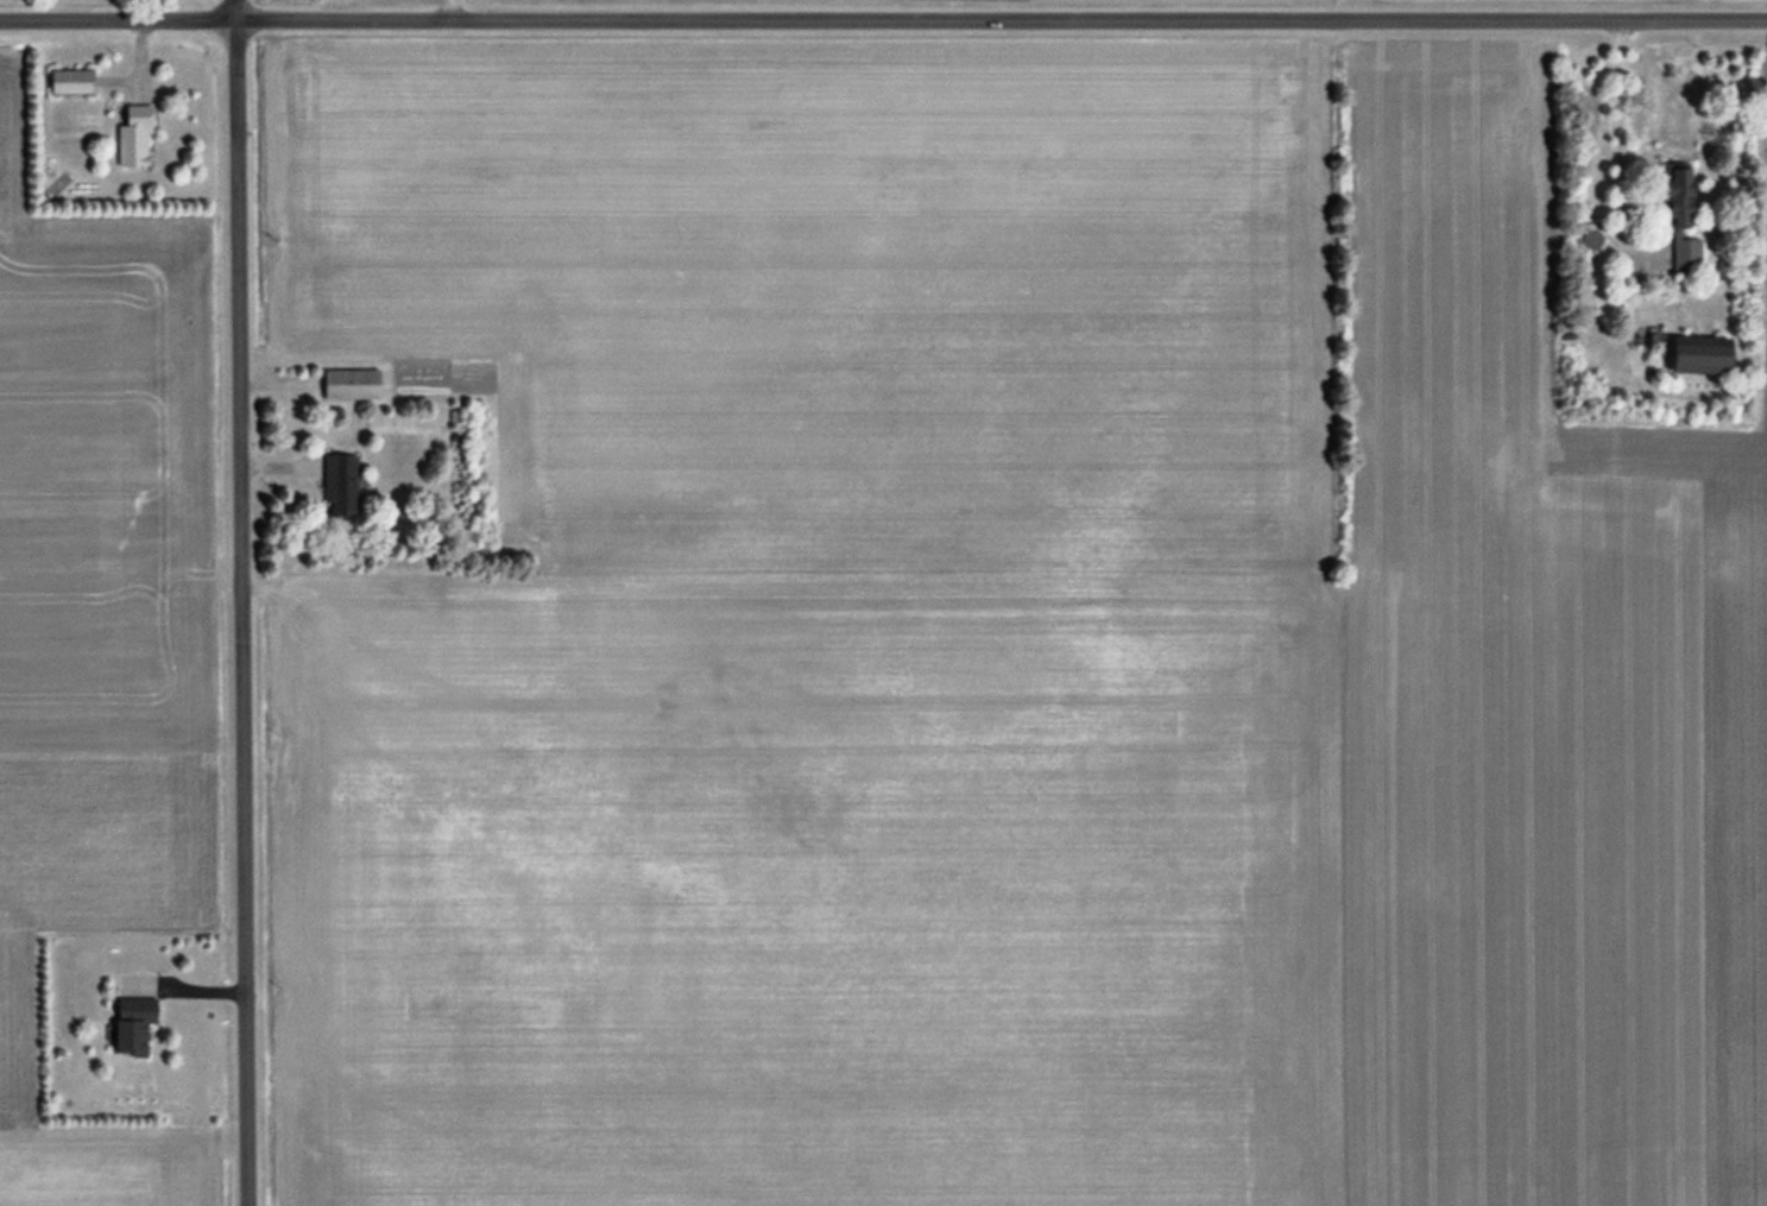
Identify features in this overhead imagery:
road: (883, 20)
building: (68, 82)
building: (131, 137)
road: (1620, 138)
building: (1678, 221)
building: (1692, 355)
building: (349, 383)
building: (339, 485)
road: (242, 602)
building: (128, 1024)

